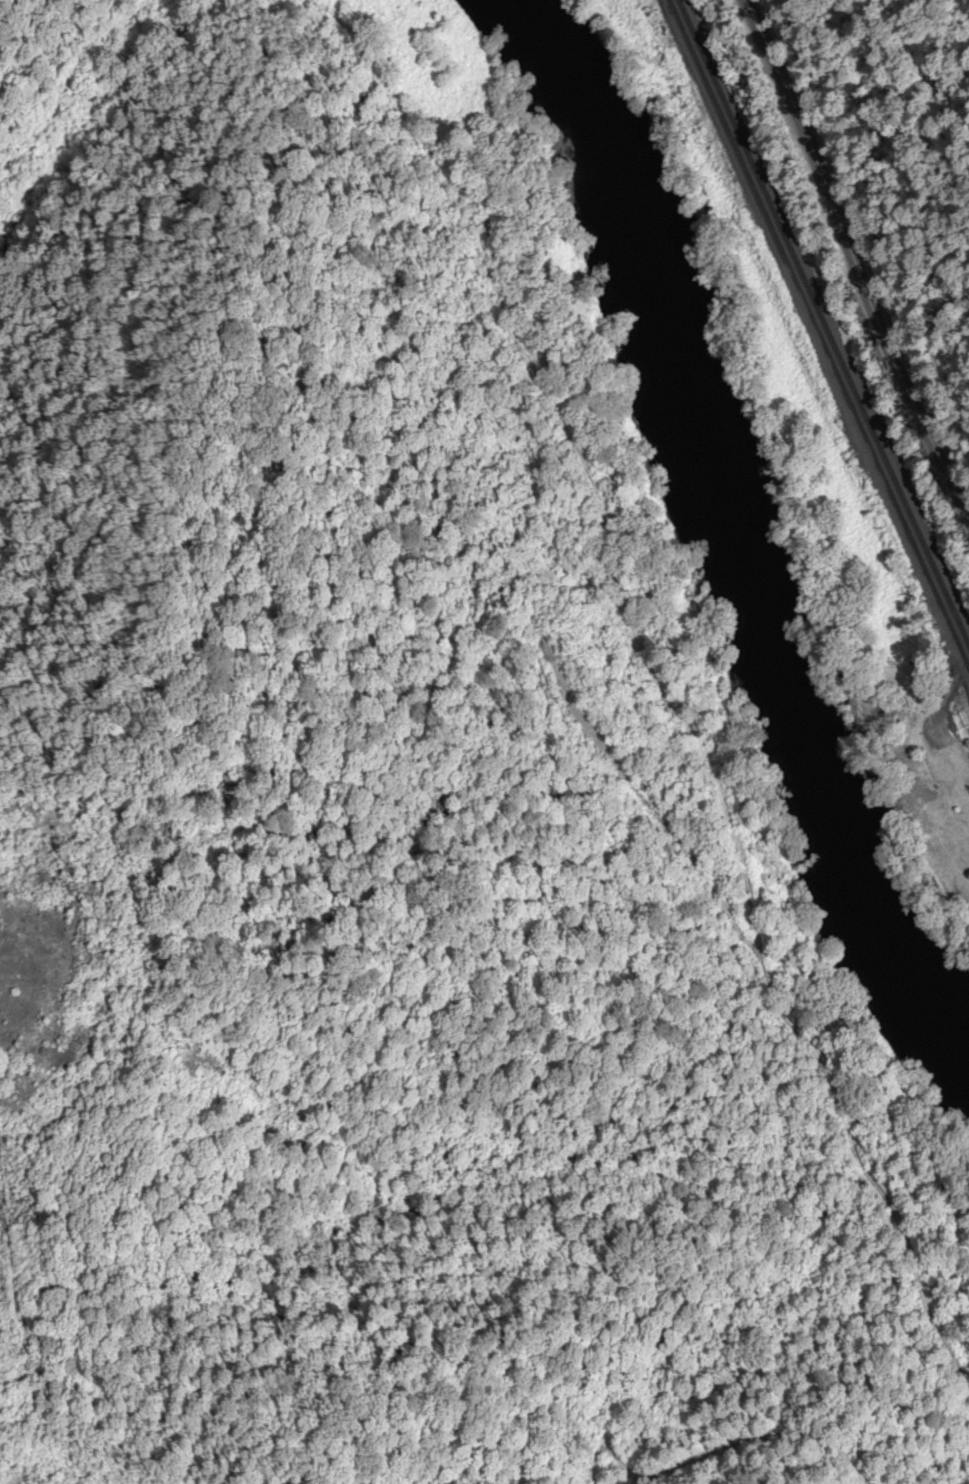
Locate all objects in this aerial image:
road: (855, 231)
railway: (818, 334)
river: (720, 546)
road: (607, 752)

